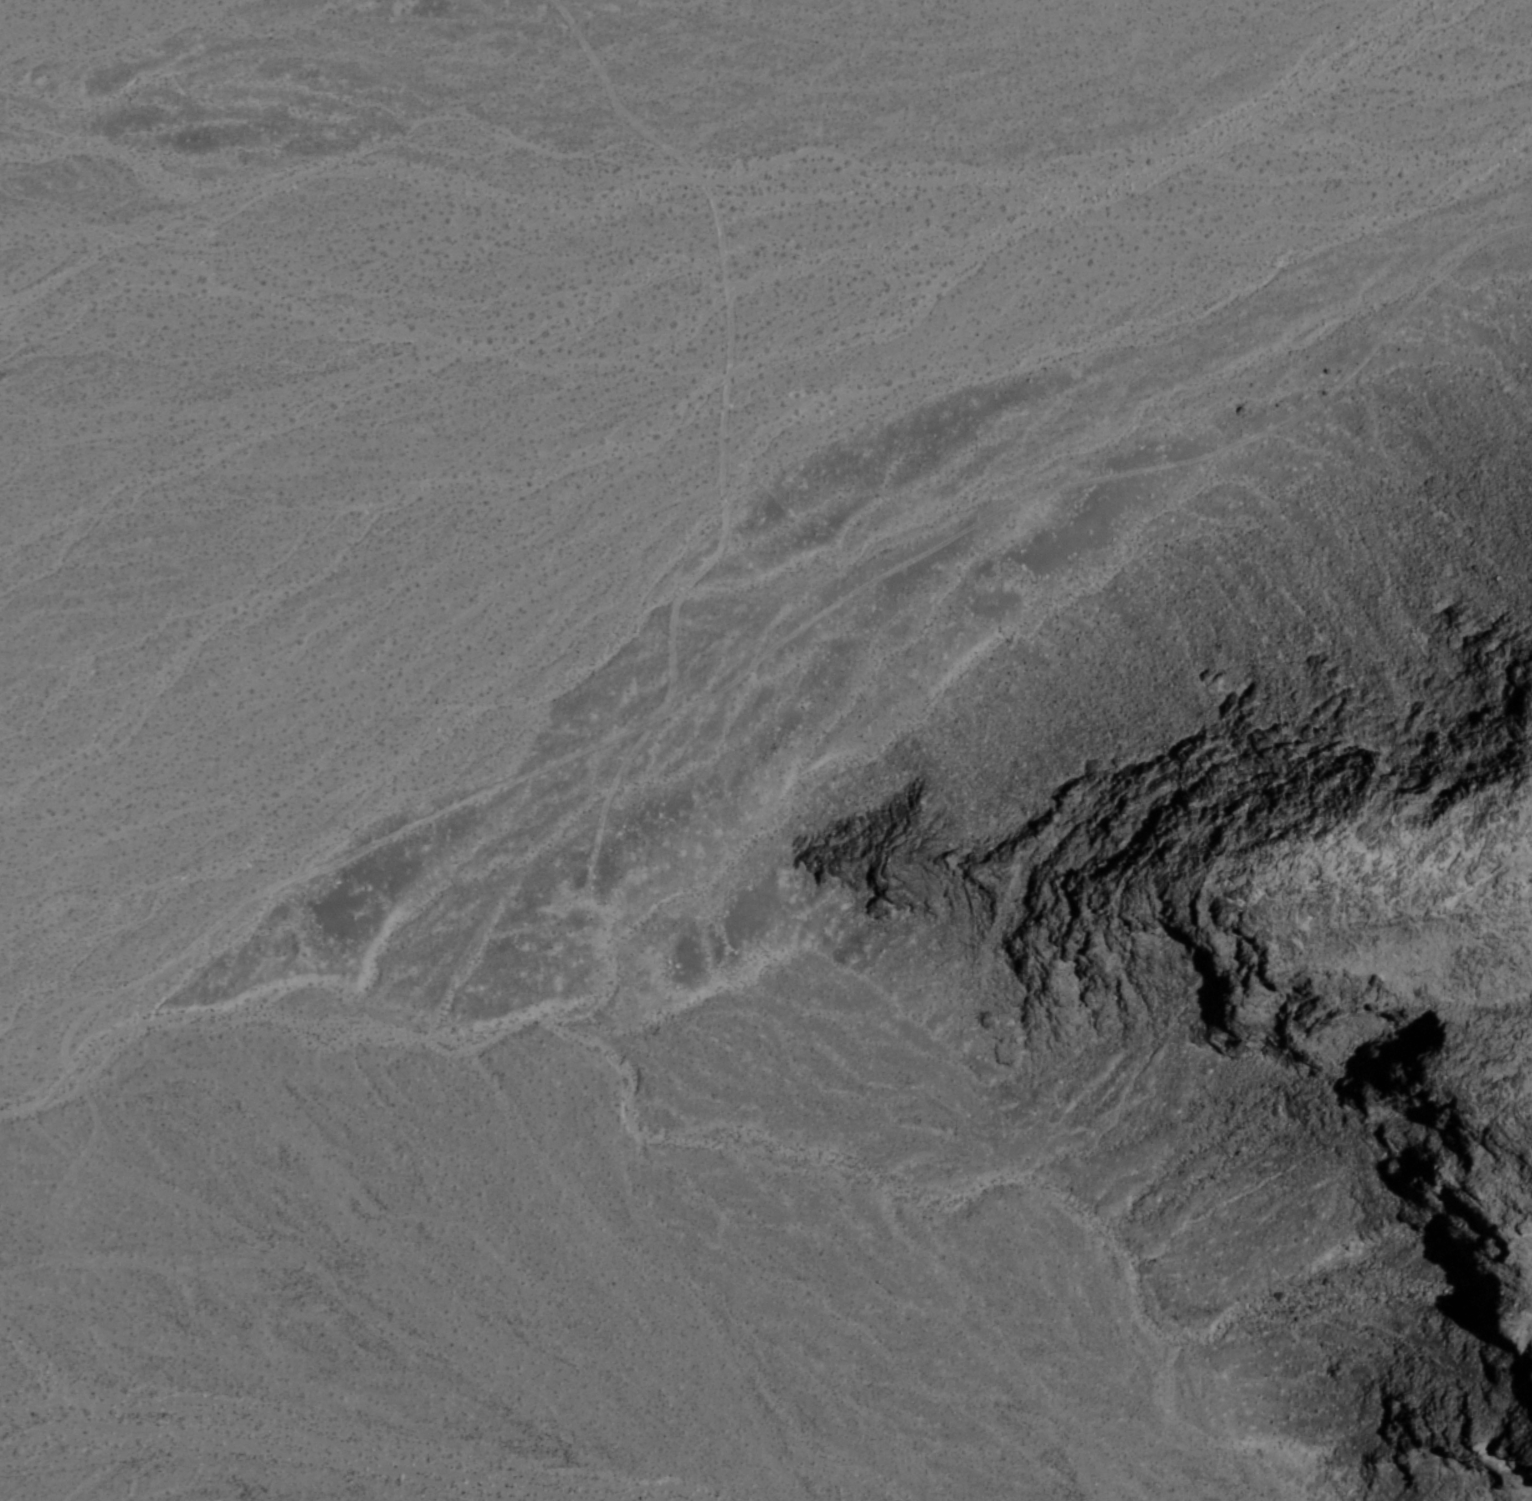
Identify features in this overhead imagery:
road: (731, 332)
road: (785, 642)
road: (612, 797)

